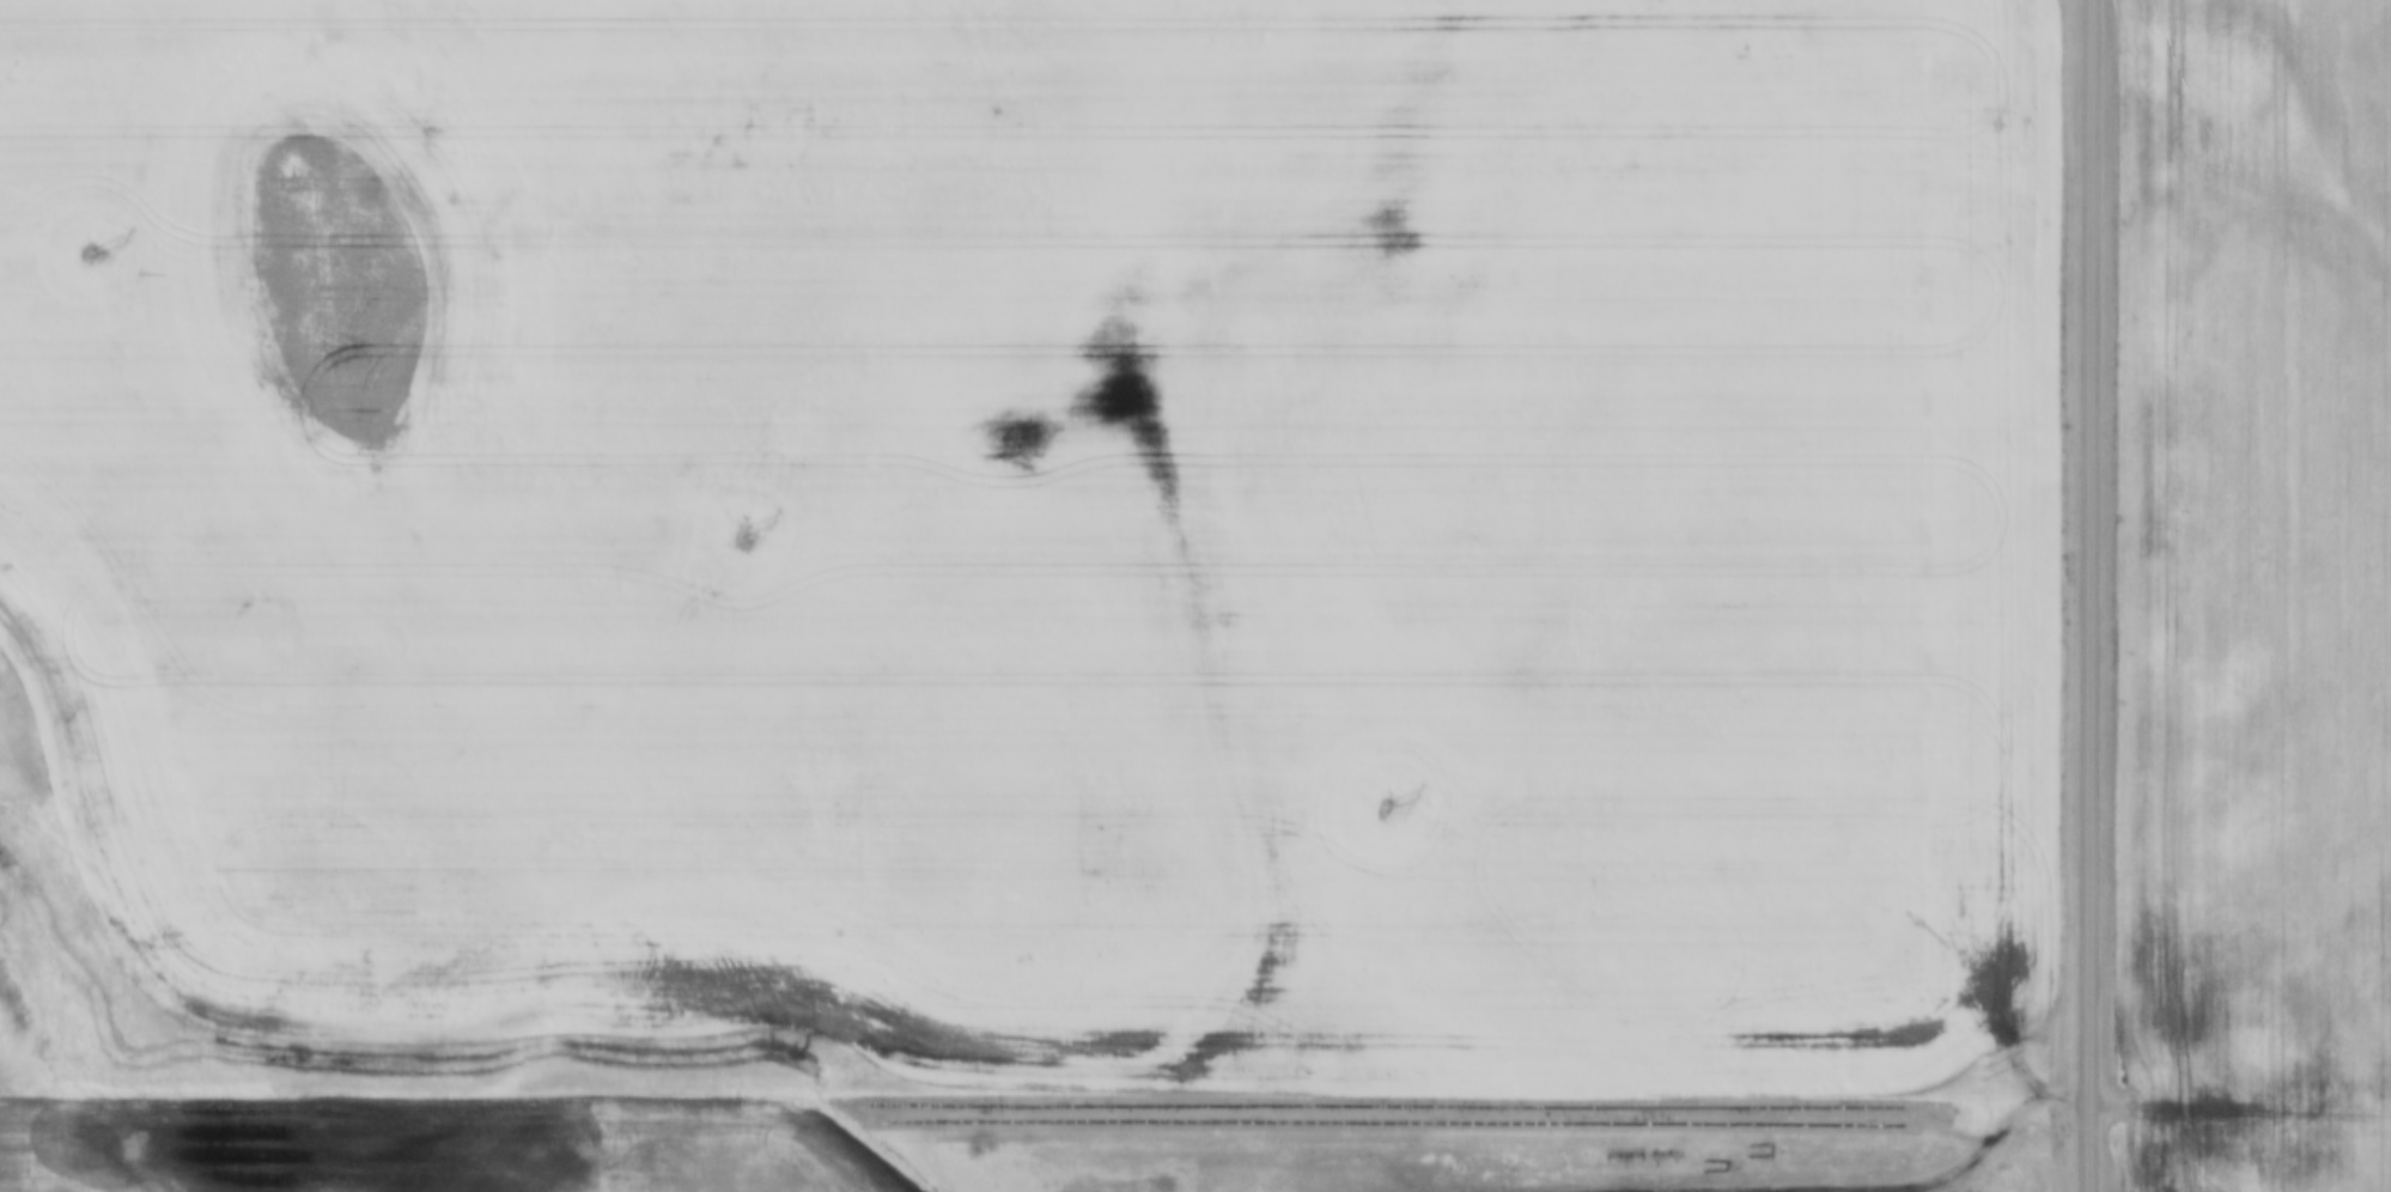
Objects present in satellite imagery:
road: (2086, 595)

